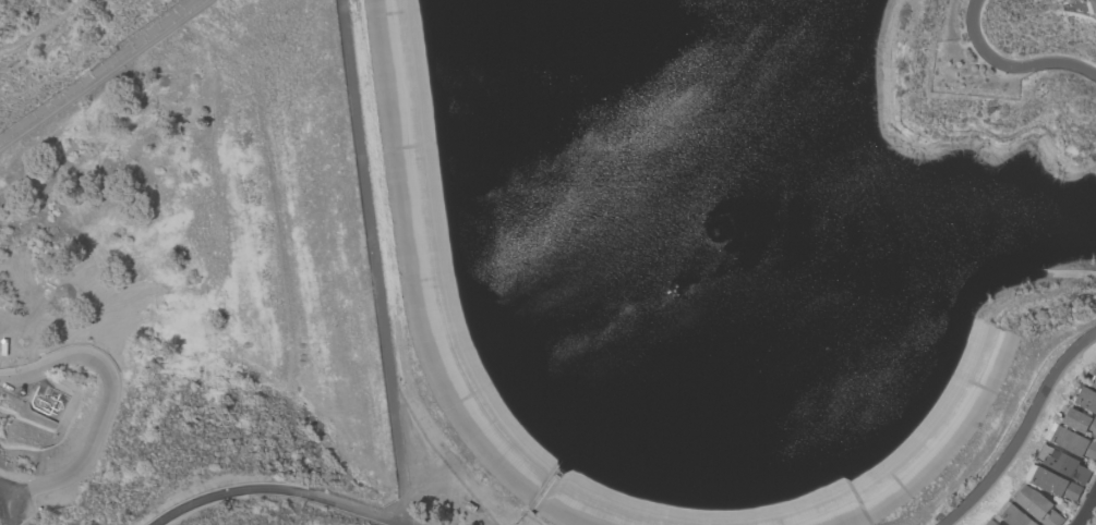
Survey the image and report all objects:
building: (1094, 4)
road: (1010, 66)
road: (97, 71)
dam: (409, 273)
road: (374, 276)
building: (1095, 374)
building: (1094, 384)
building: (1087, 400)
road: (108, 404)
building: (1081, 422)
dam: (963, 429)
road: (1022, 429)
building: (1073, 443)
building: (1063, 464)
building: (1055, 485)
road: (233, 492)
building: (1037, 506)
road: (348, 508)
road: (1088, 512)
building: (1016, 516)
building: (999, 524)

